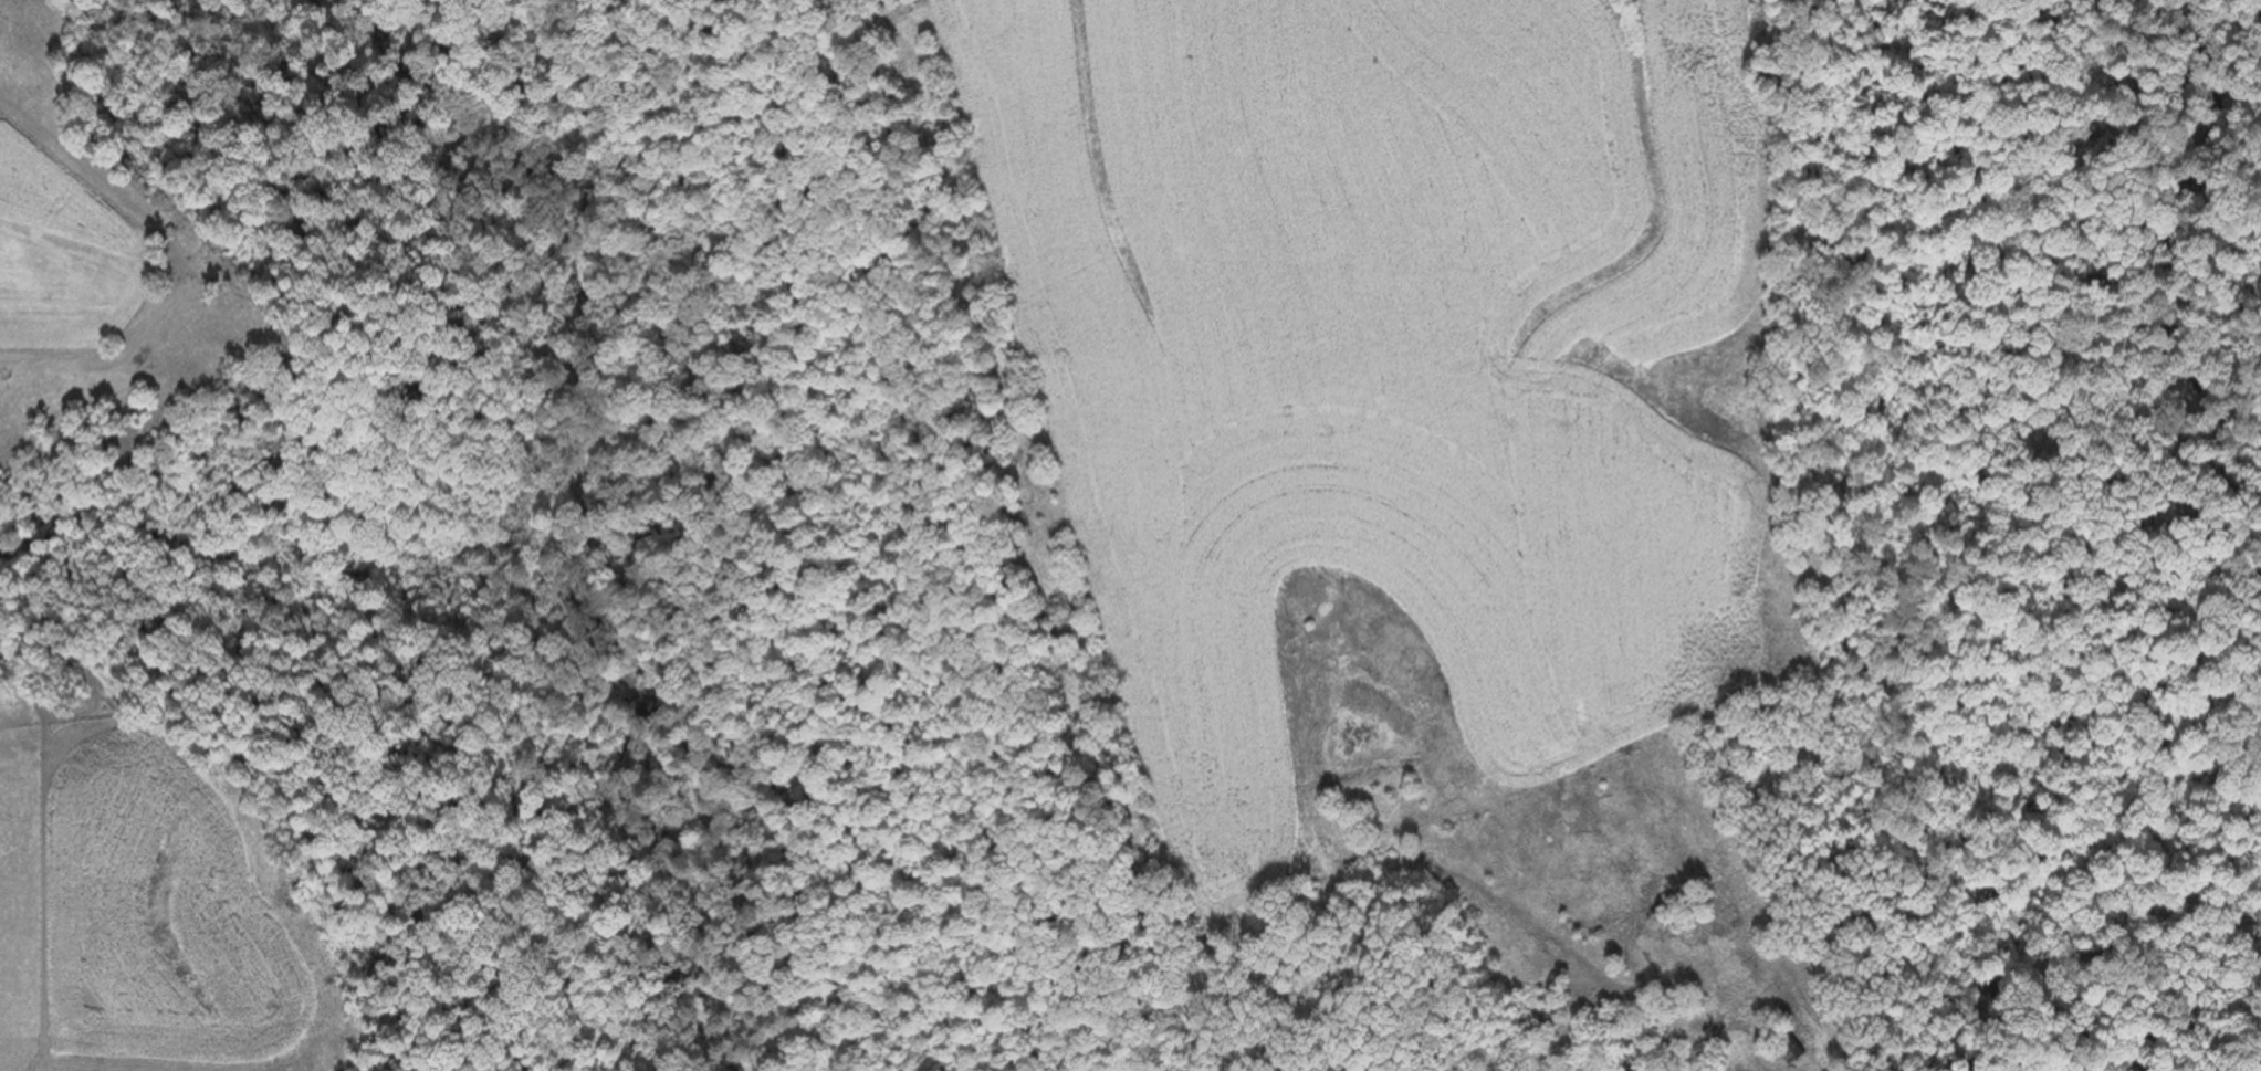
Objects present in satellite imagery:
park: (2210, 1031)
building: (1784, 1046)

